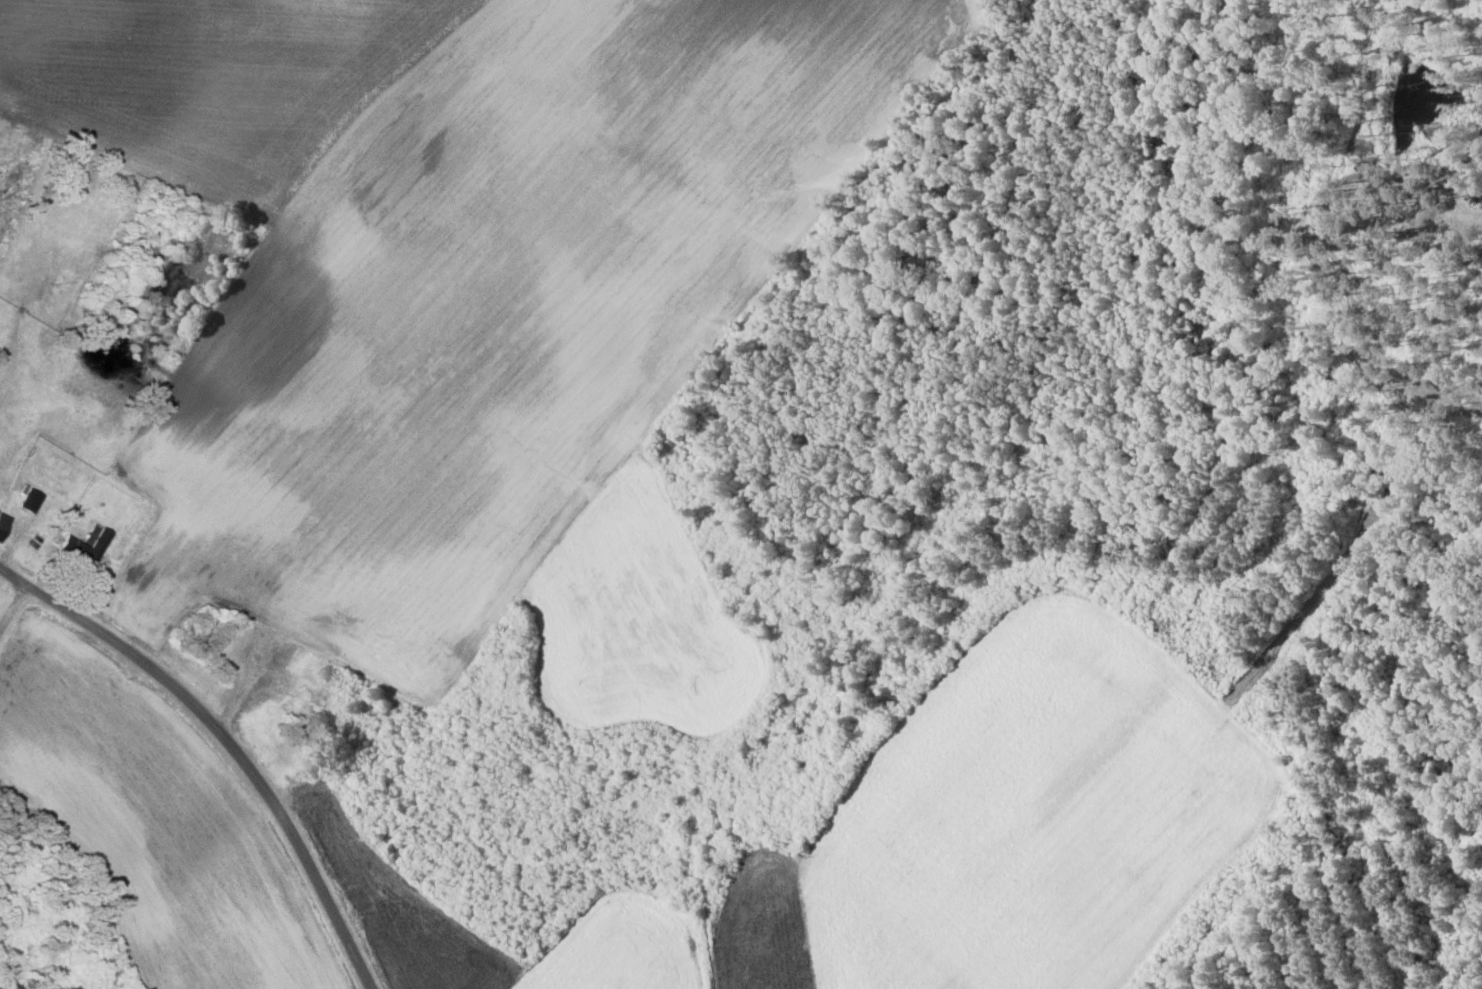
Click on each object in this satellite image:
building: (29, 500)
building: (3, 522)
building: (62, 540)
building: (97, 541)
road: (223, 748)

